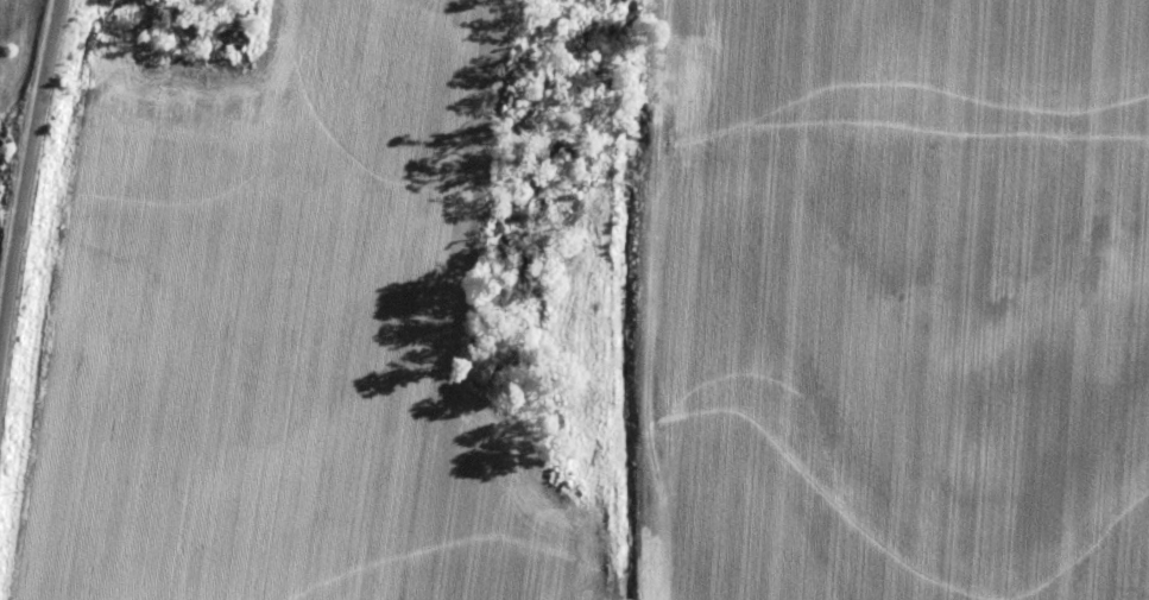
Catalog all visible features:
road: (30, 214)

